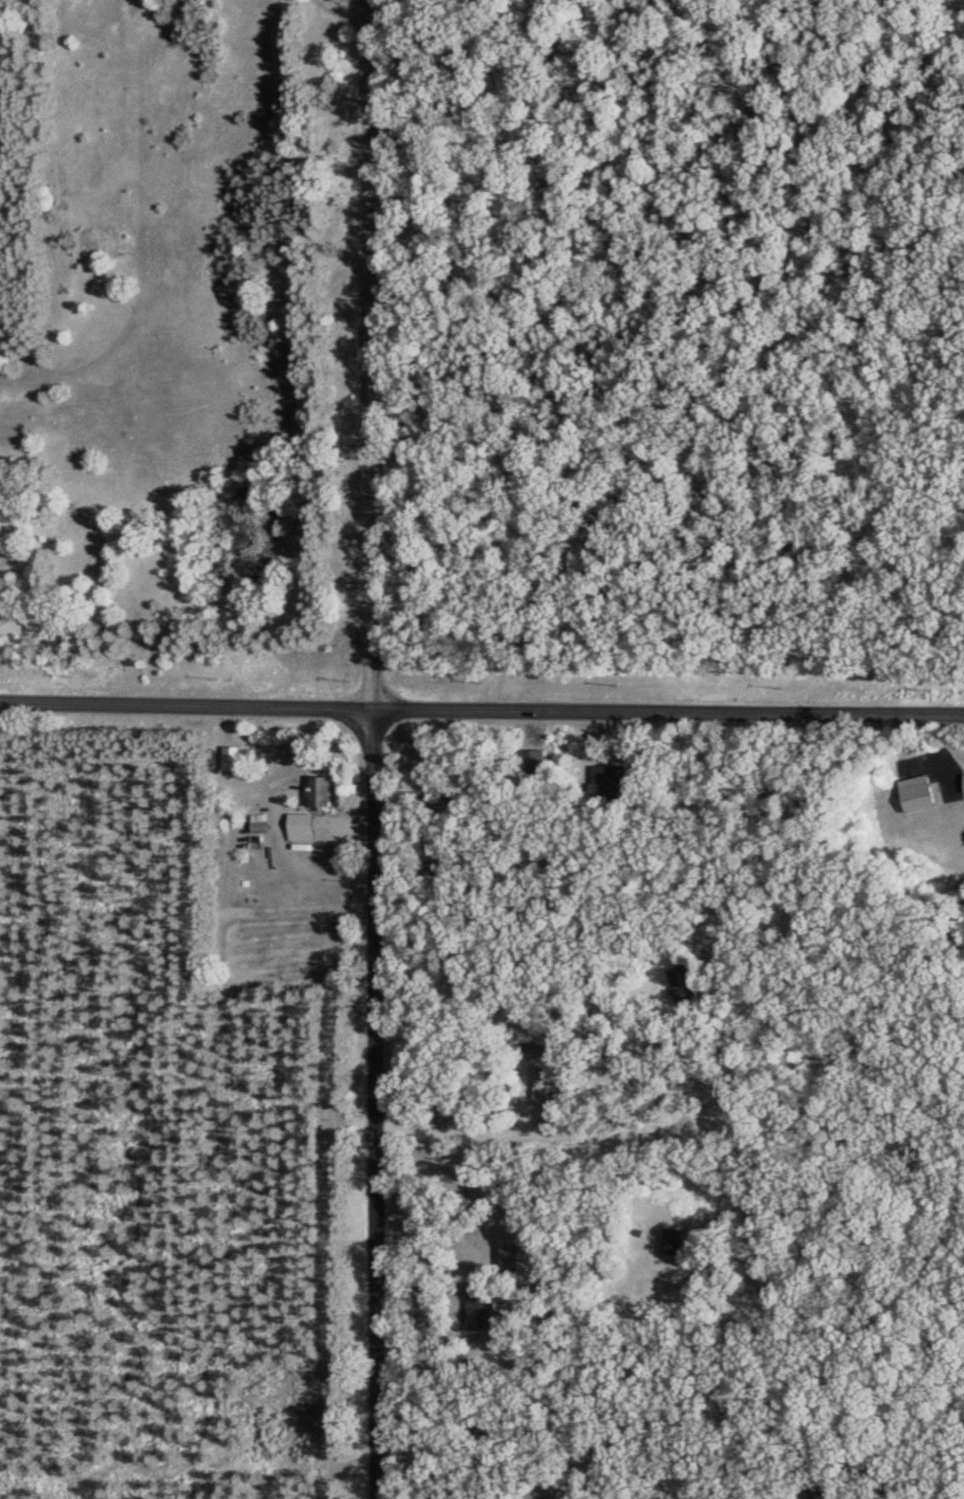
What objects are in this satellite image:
road: (685, 329)
road: (373, 354)
road: (482, 708)
building: (239, 756)
building: (543, 761)
building: (622, 773)
building: (326, 789)
building: (924, 791)
building: (269, 825)
building: (307, 825)
building: (686, 982)
building: (529, 1019)
road: (377, 1103)
building: (679, 1239)
building: (525, 1258)
building: (485, 1306)

